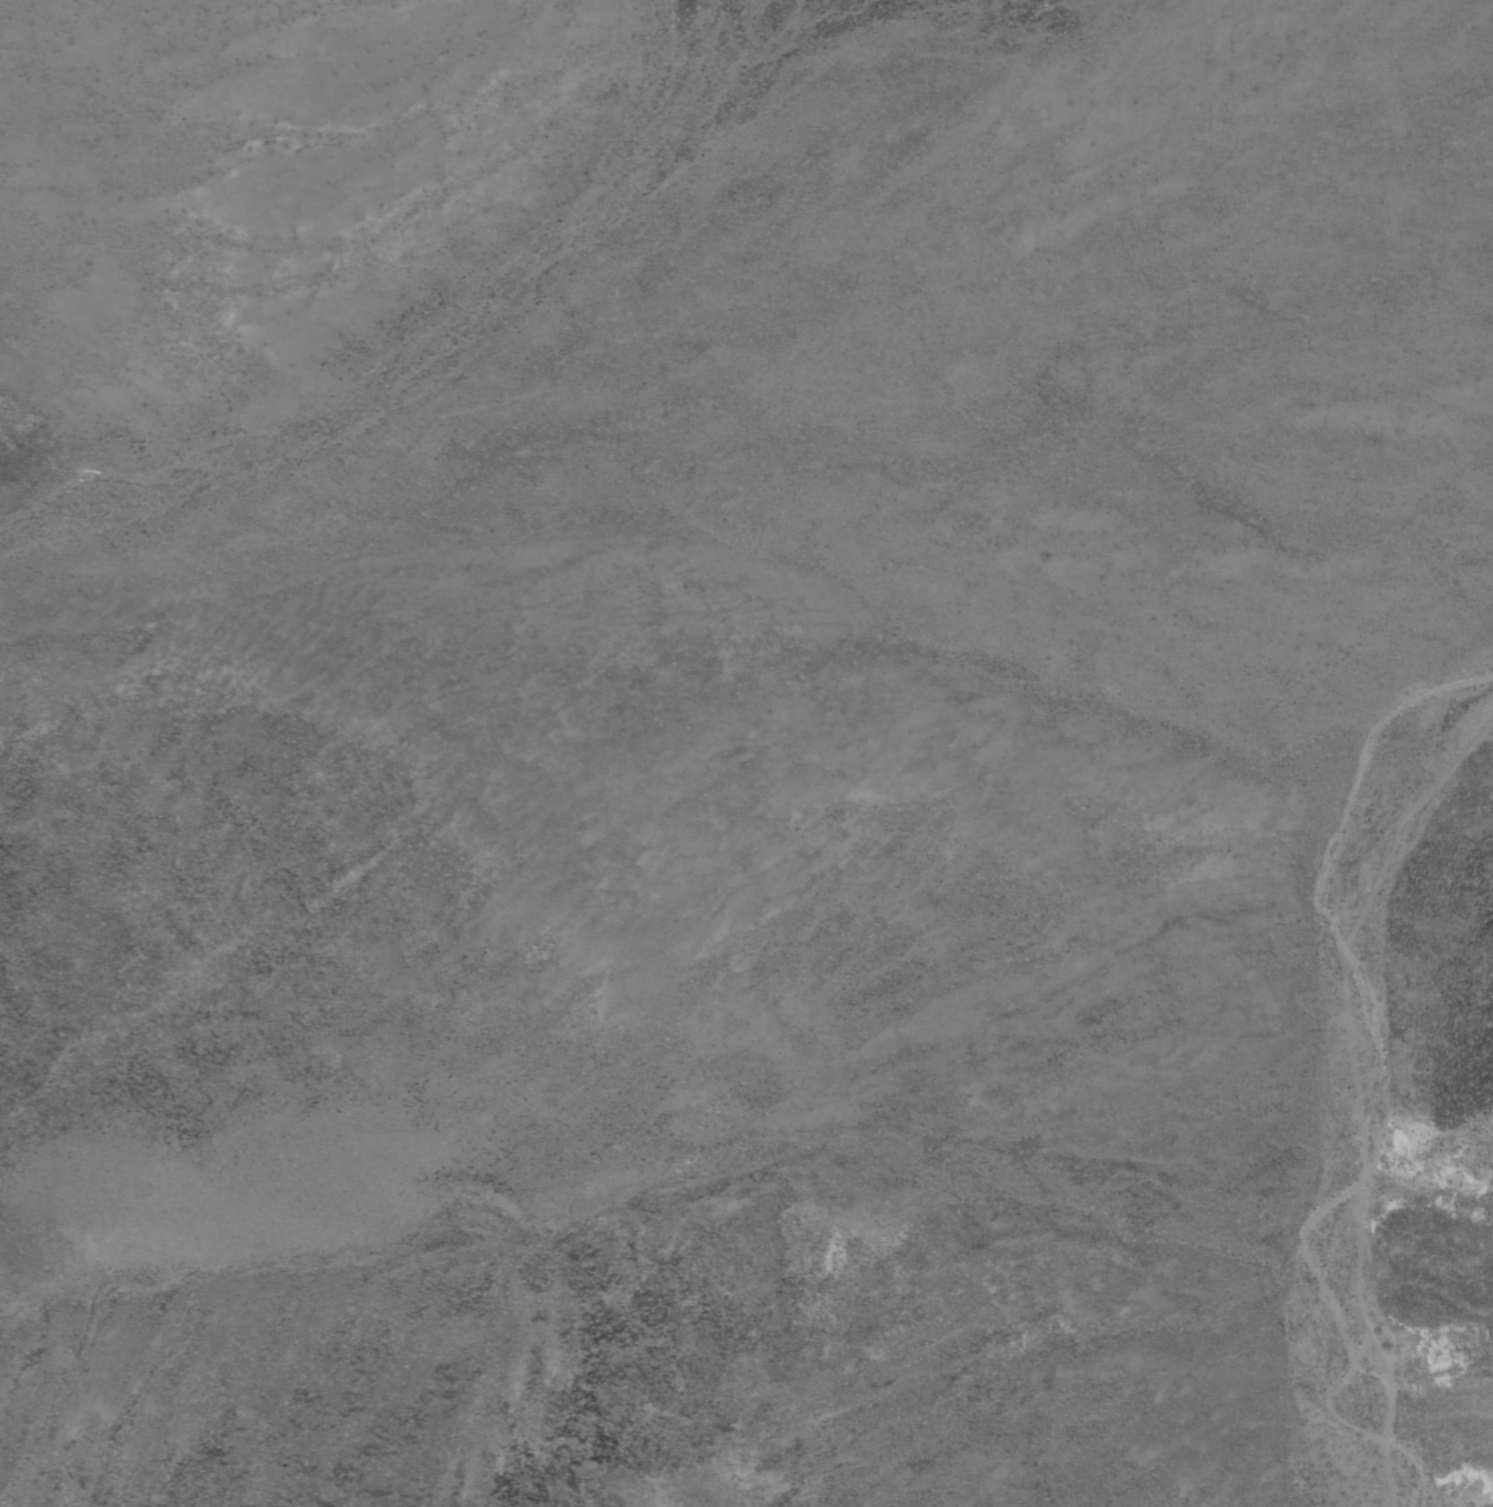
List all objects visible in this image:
road: (1391, 1436)

